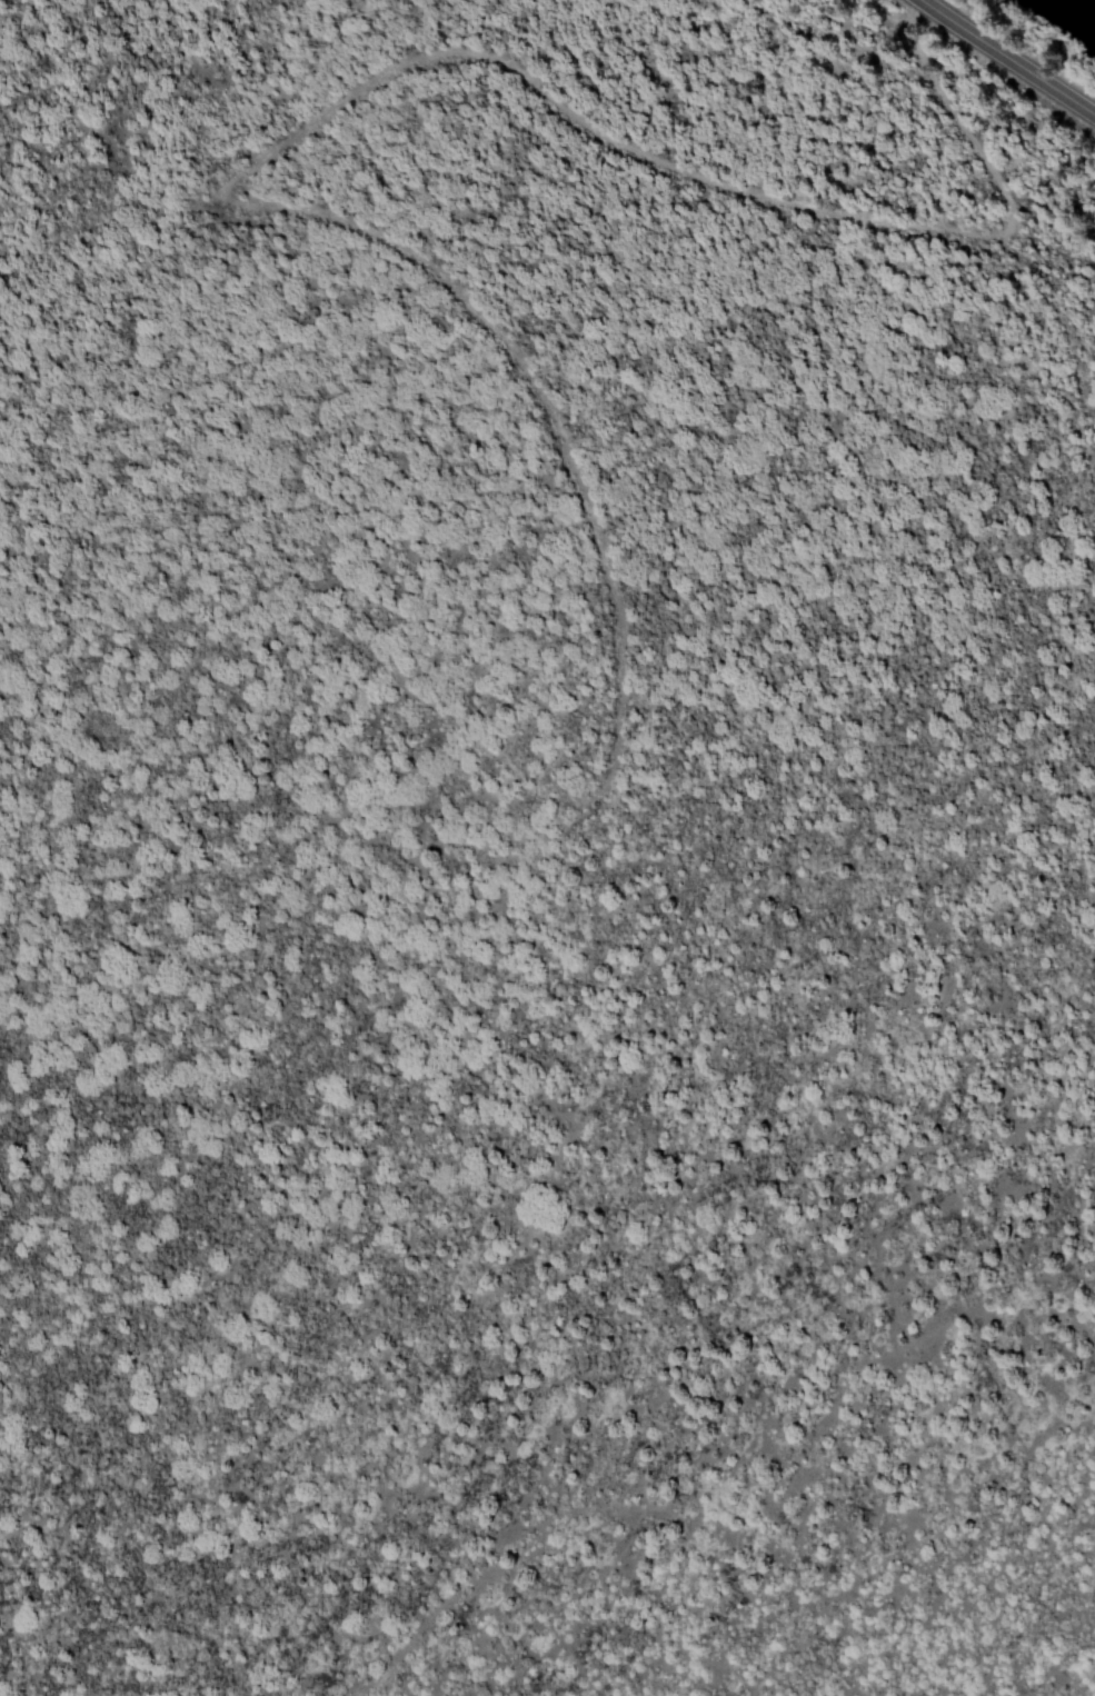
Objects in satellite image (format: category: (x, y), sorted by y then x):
road: (1007, 60)

